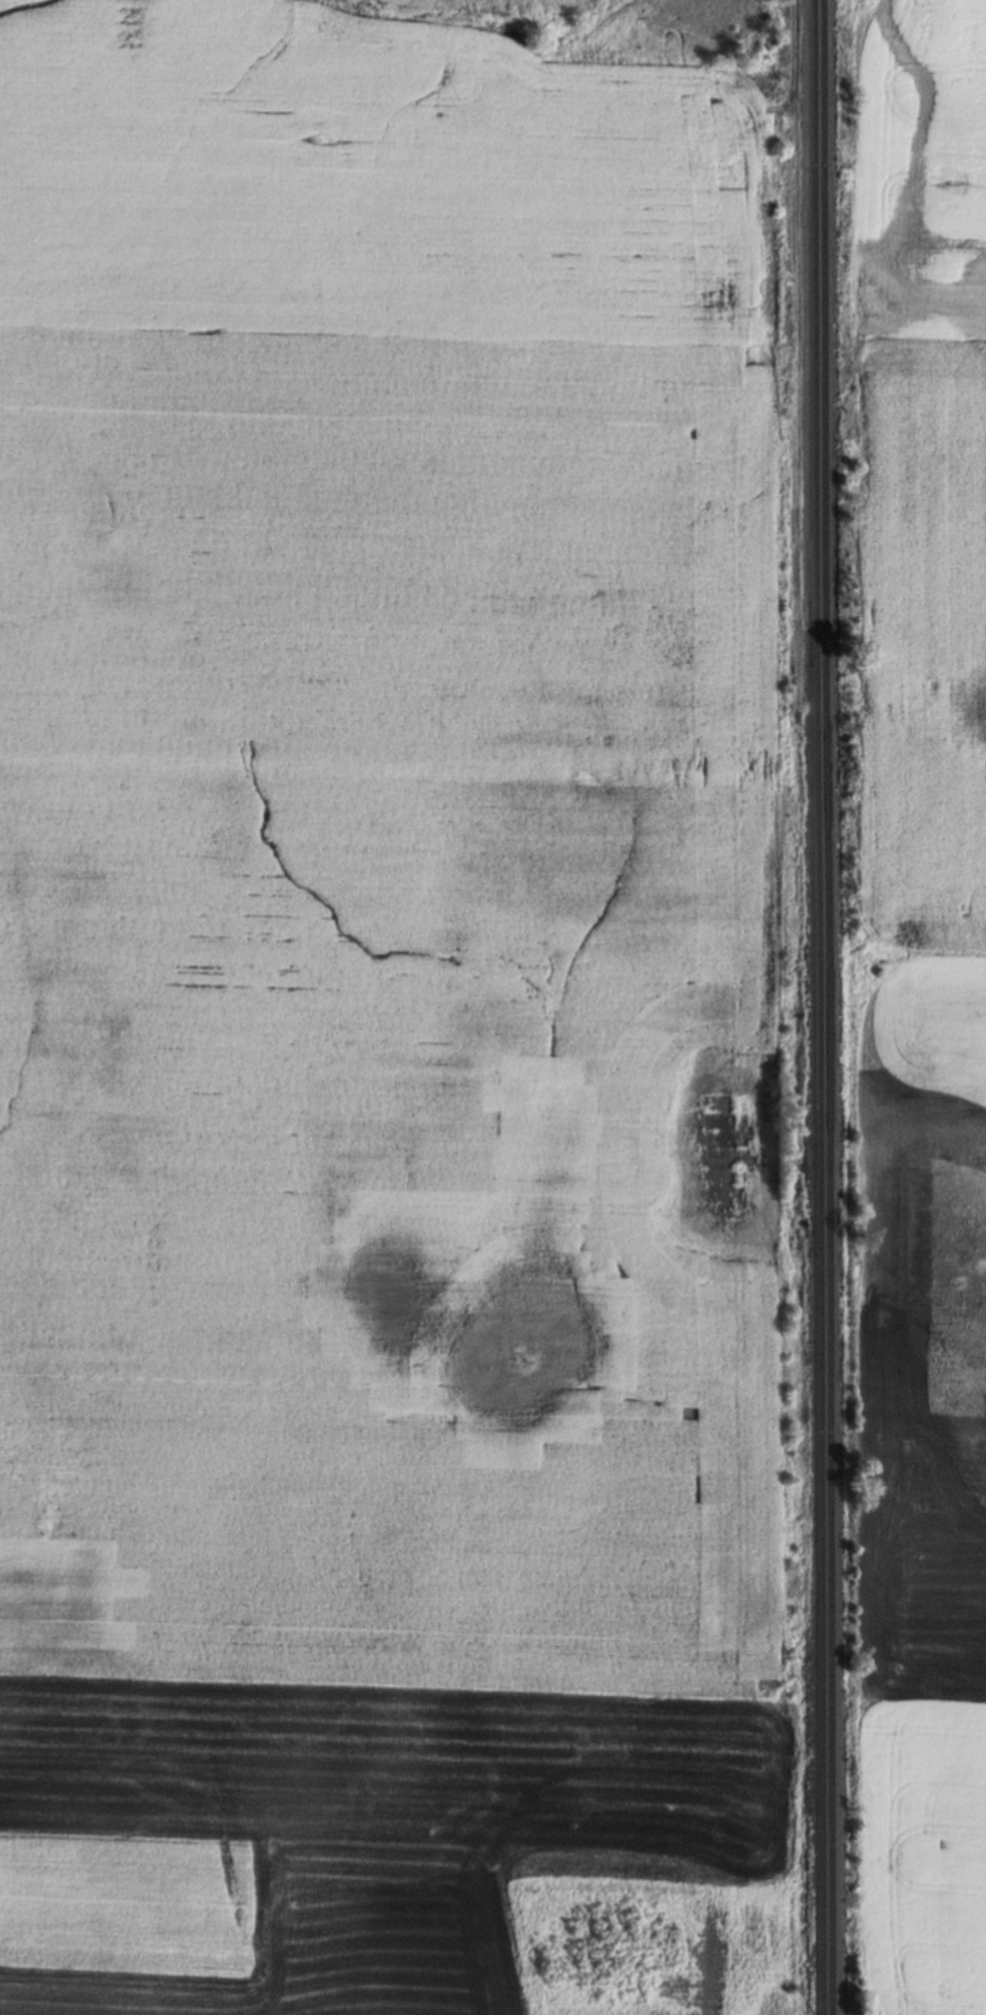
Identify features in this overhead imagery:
railway: (817, 1007)
railway: (827, 1007)
crop: (921, 1015)

